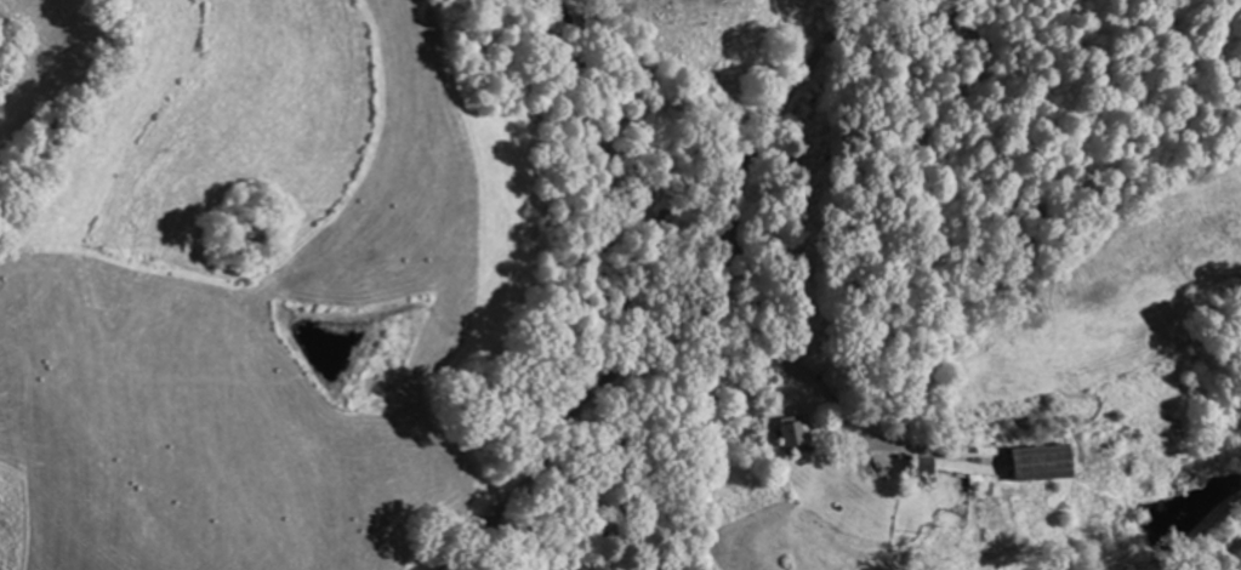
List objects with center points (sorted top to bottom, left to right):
road: (725, 261)
building: (795, 433)
building: (1040, 466)

